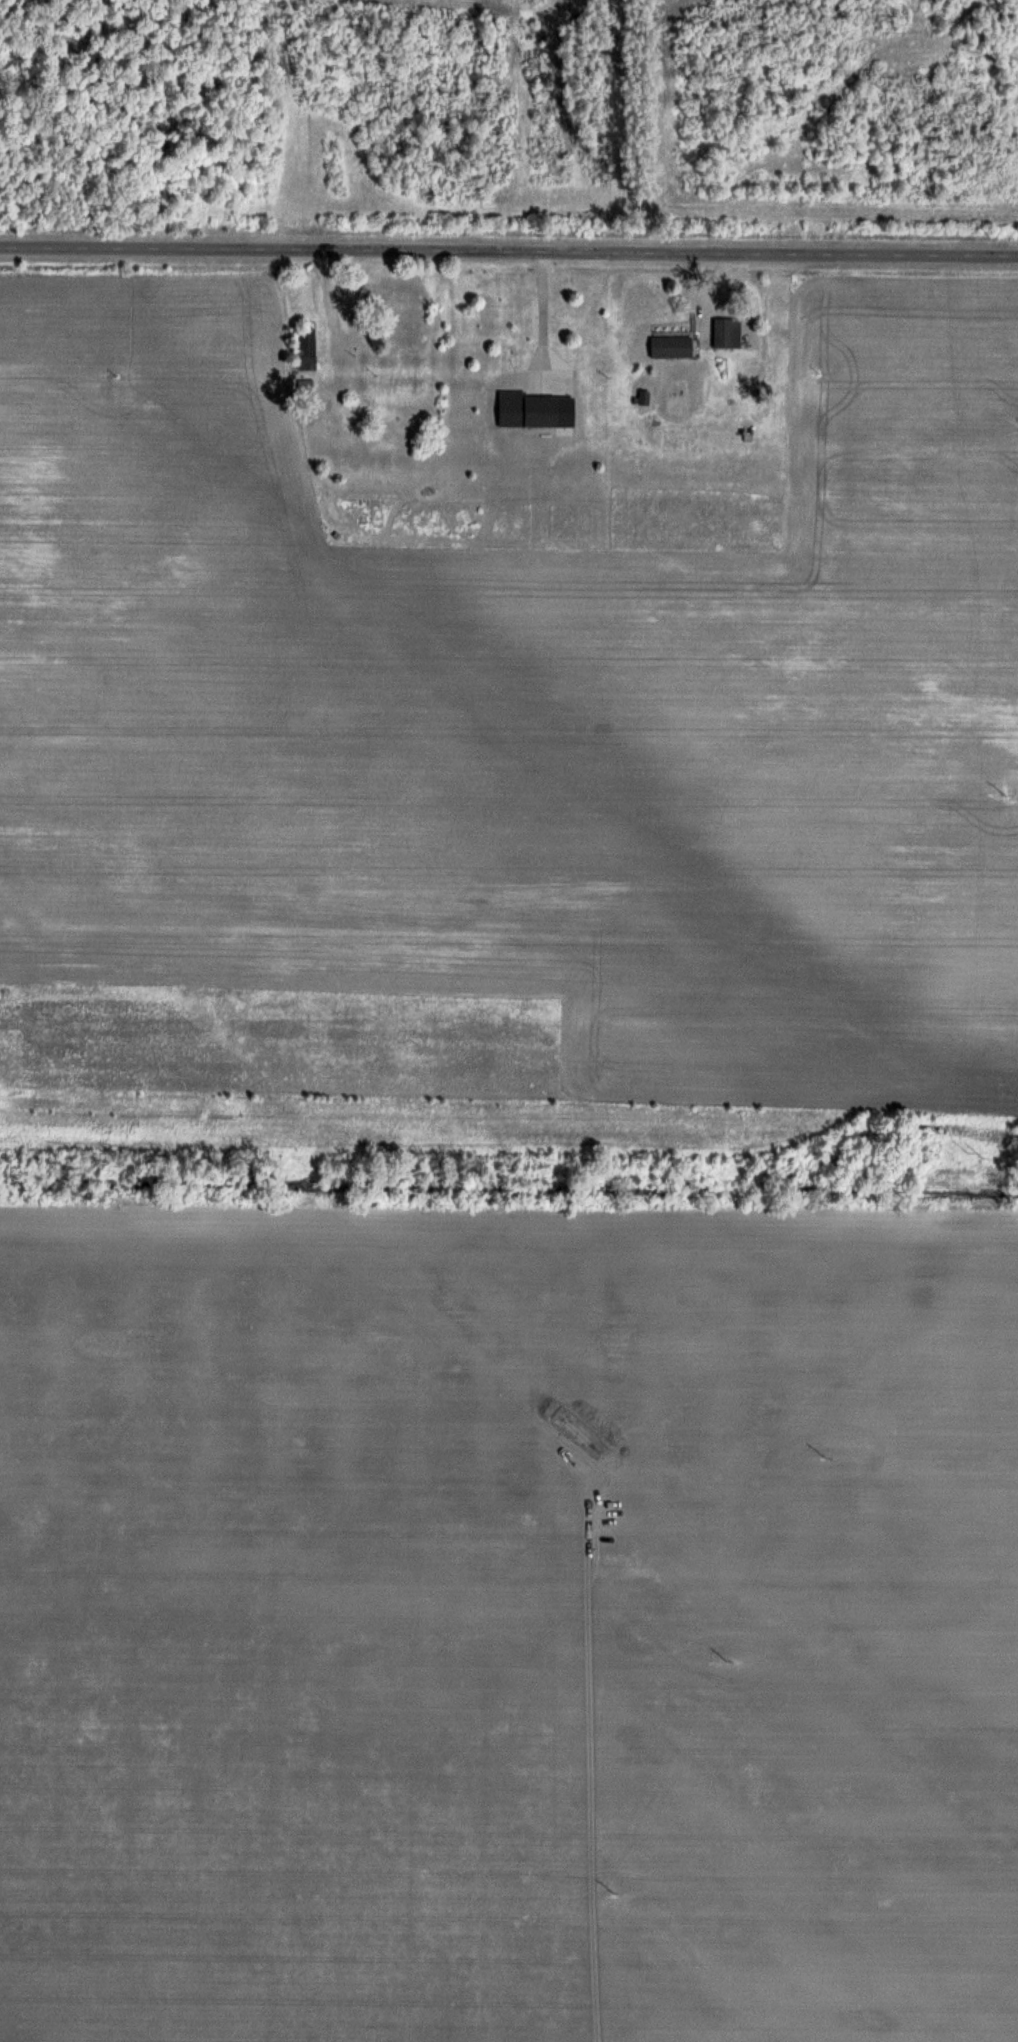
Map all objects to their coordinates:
road: (509, 256)
building: (403, 328)
building: (725, 333)
building: (668, 346)
building: (533, 410)

